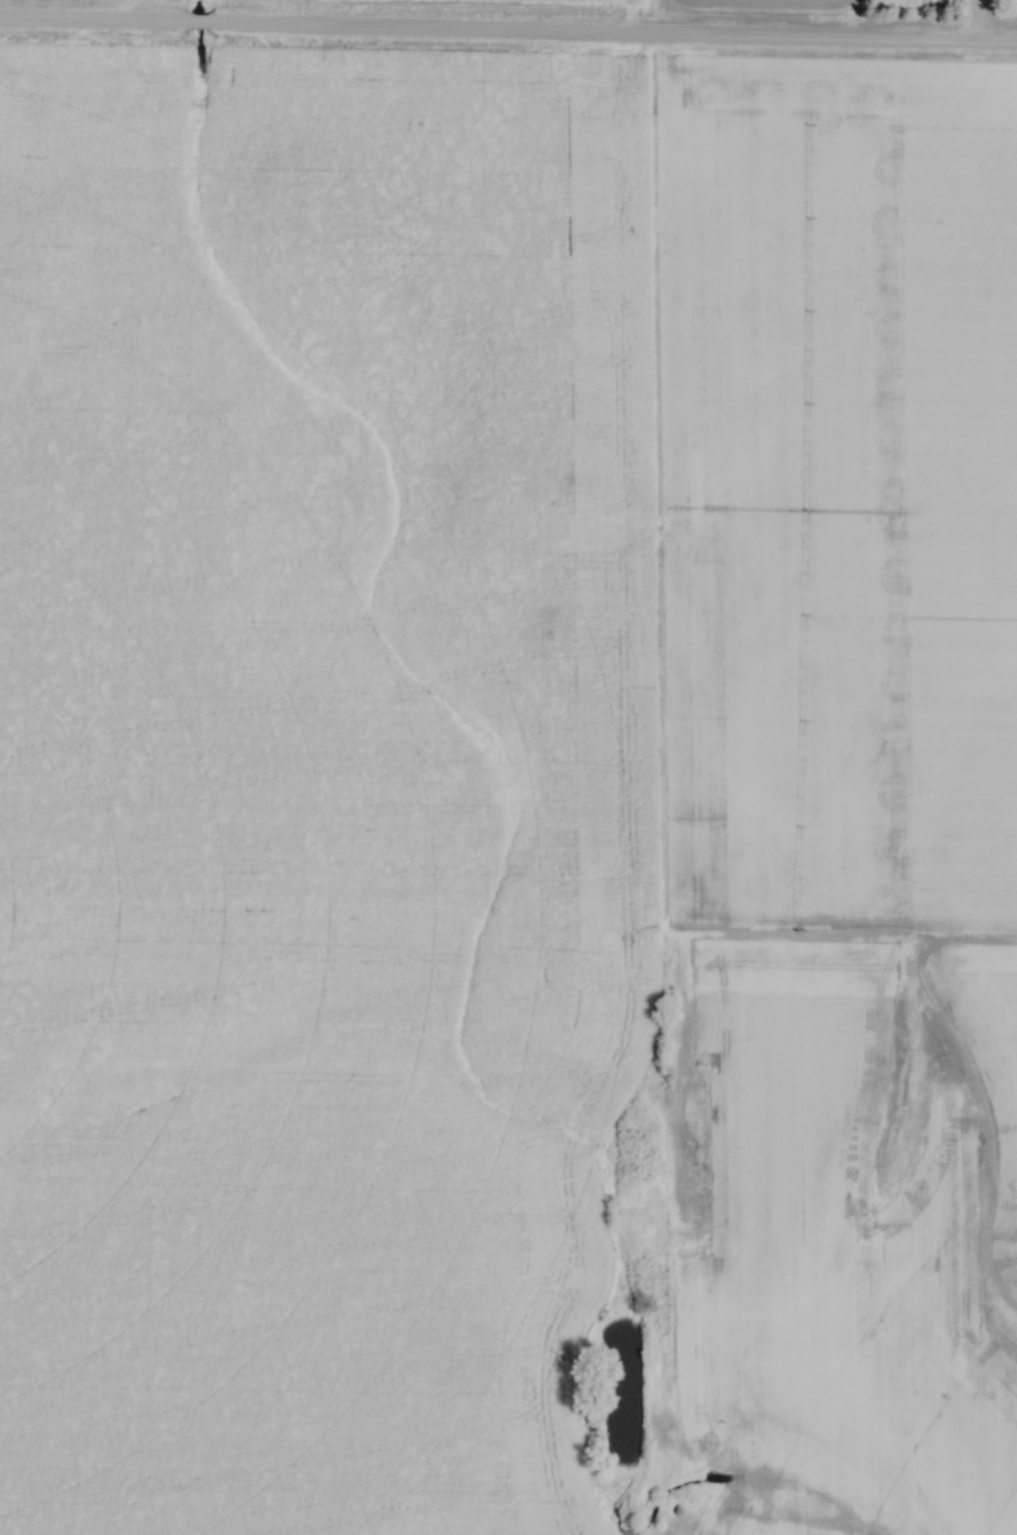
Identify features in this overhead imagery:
road: (508, 36)

